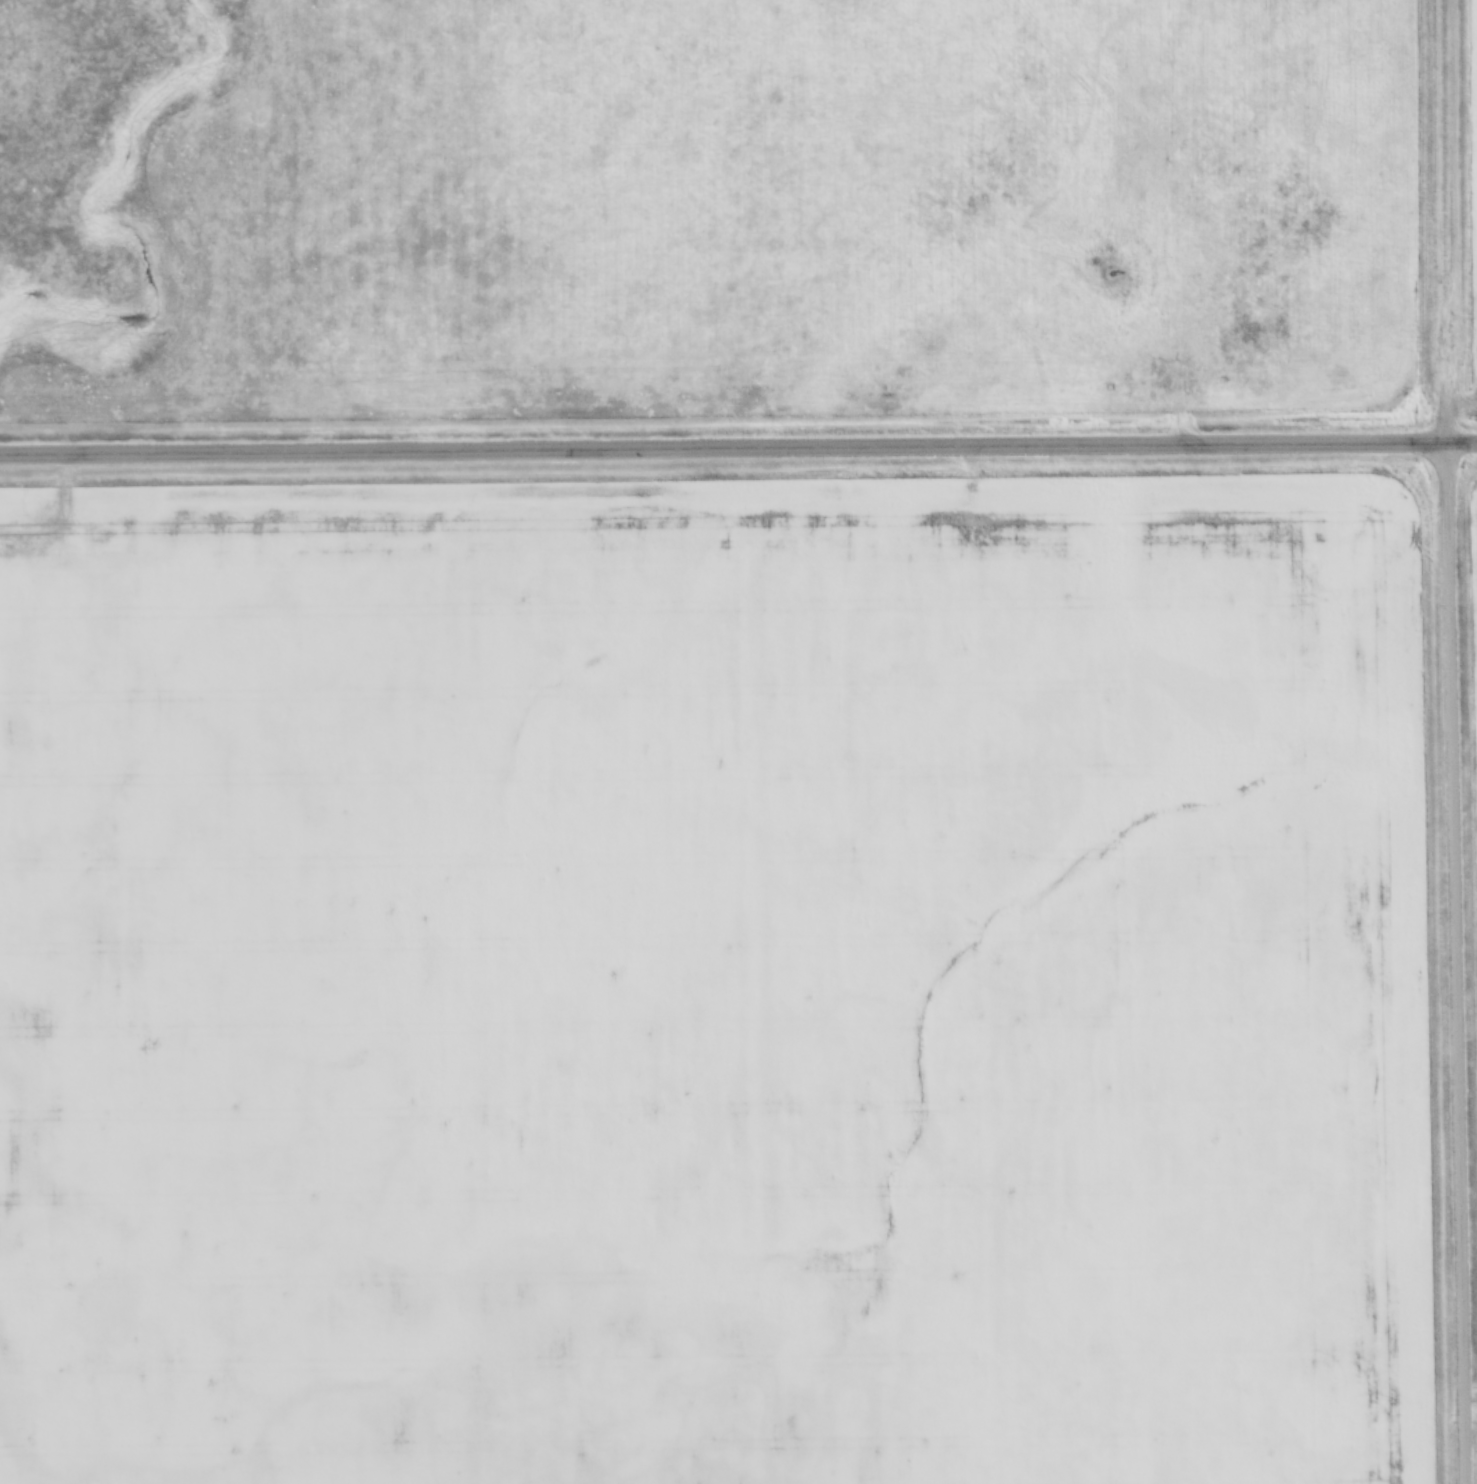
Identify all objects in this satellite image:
road: (1448, 220)
road: (1464, 440)
road: (725, 446)
road: (1460, 962)

